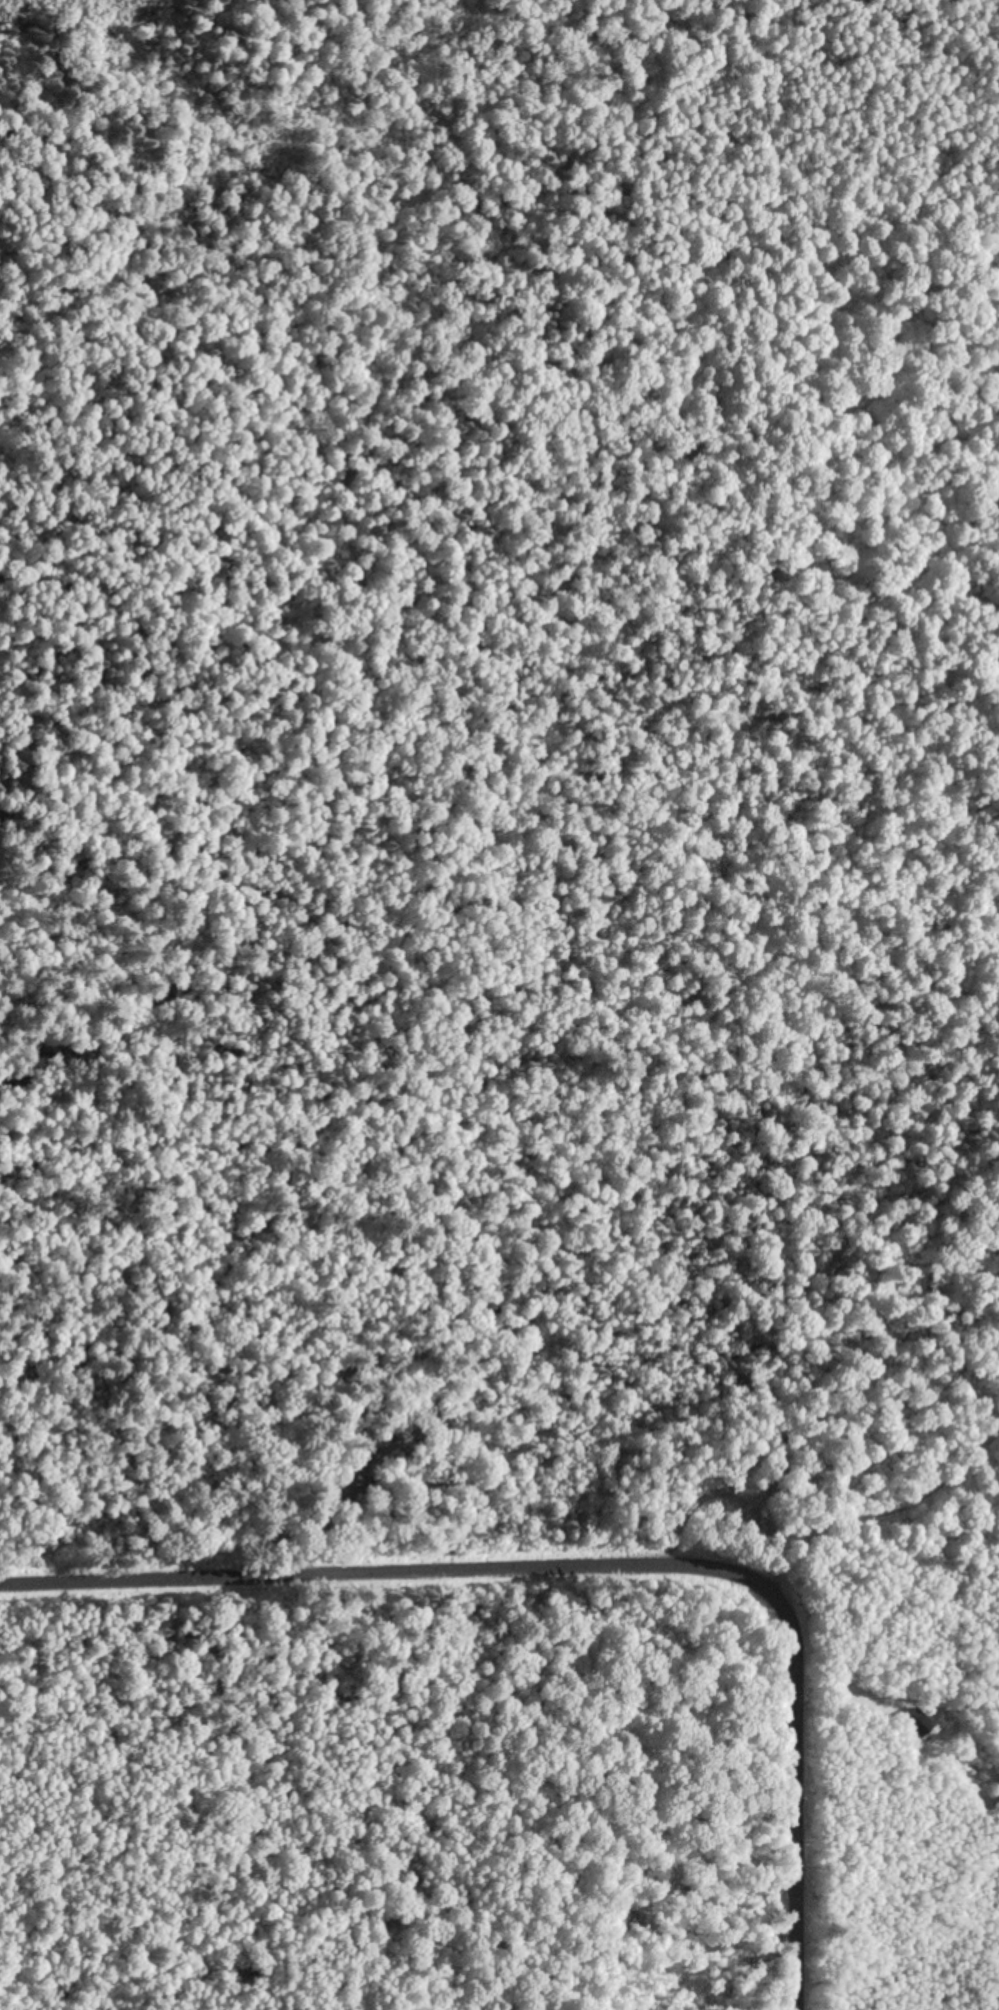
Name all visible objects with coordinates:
road: (602, 1564)
building: (917, 1721)

